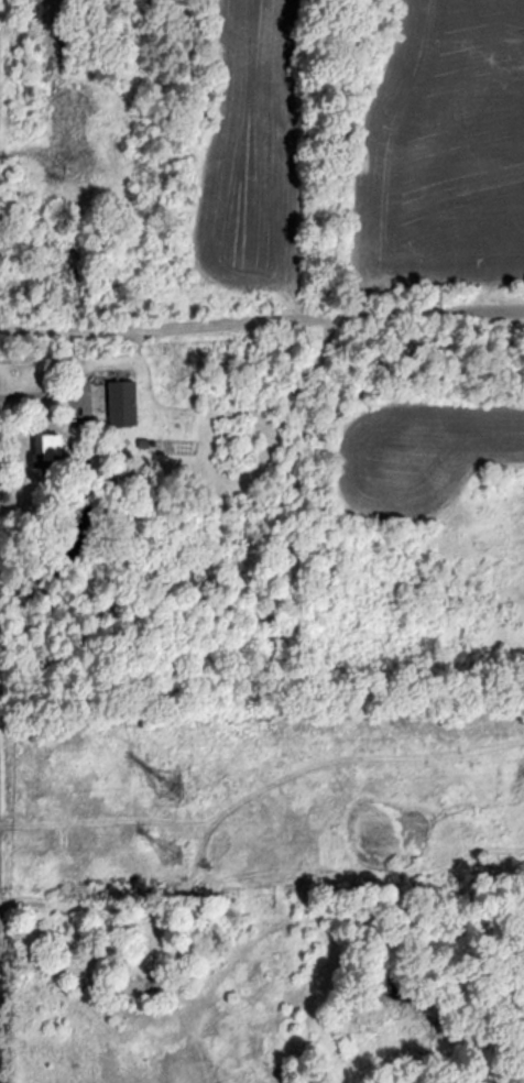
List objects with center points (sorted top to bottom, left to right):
building: (119, 403)
building: (43, 448)
power tower: (168, 786)
power tower: (170, 852)

